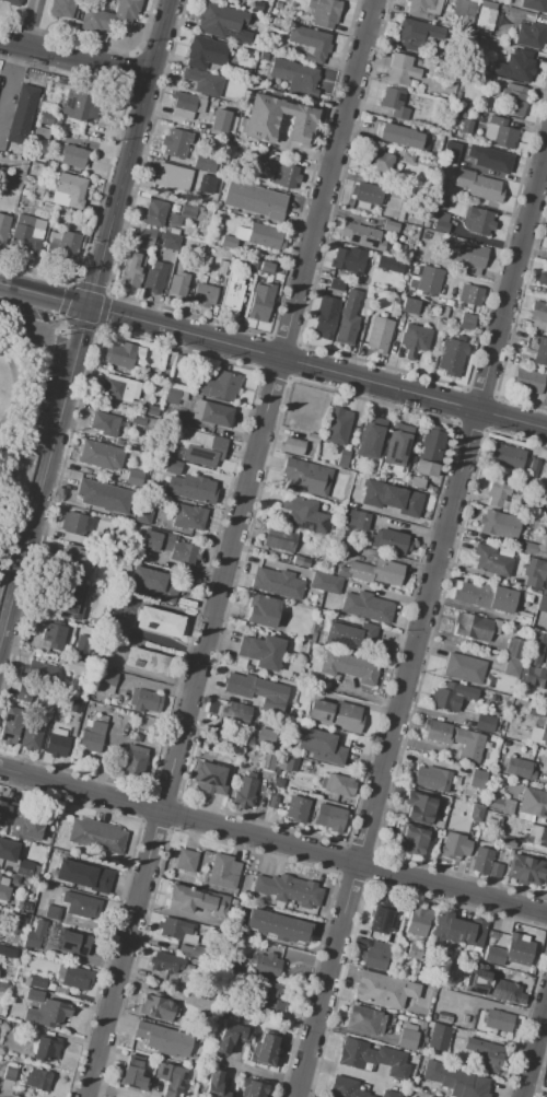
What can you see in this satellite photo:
building: (219, 0)
building: (11, 2)
building: (263, 3)
building: (276, 5)
building: (466, 5)
building: (534, 5)
building: (423, 8)
building: (62, 9)
building: (324, 12)
building: (255, 16)
building: (110, 17)
building: (486, 19)
building: (219, 21)
building: (467, 21)
building: (416, 35)
building: (529, 35)
building: (310, 43)
building: (199, 52)
building: (264, 57)
road: (74, 58)
building: (515, 66)
building: (400, 69)
building: (292, 77)
building: (203, 82)
building: (457, 94)
building: (514, 98)
building: (394, 103)
road: (141, 105)
building: (186, 105)
building: (79, 106)
building: (22, 116)
building: (47, 118)
building: (278, 120)
building: (220, 121)
building: (466, 126)
building: (44, 133)
building: (500, 133)
building: (400, 136)
building: (175, 142)
road: (296, 149)
building: (433, 149)
building: (451, 151)
building: (73, 156)
building: (407, 157)
building: (255, 159)
building: (374, 160)
building: (494, 161)
building: (203, 163)
building: (14, 170)
building: (286, 176)
building: (173, 177)
building: (27, 179)
building: (8, 182)
building: (205, 184)
building: (478, 185)
building: (439, 186)
building: (214, 188)
building: (396, 190)
building: (69, 191)
building: (25, 192)
building: (366, 194)
building: (254, 200)
building: (154, 213)
building: (185, 214)
building: (477, 222)
building: (439, 223)
building: (424, 224)
building: (389, 226)
building: (4, 227)
building: (27, 234)
building: (260, 235)
building: (144, 236)
building: (54, 237)
building: (361, 237)
building: (167, 241)
building: (228, 243)
building: (198, 247)
building: (63, 248)
building: (406, 256)
building: (348, 259)
building: (469, 259)
building: (205, 261)
building: (388, 265)
building: (194, 267)
building: (253, 267)
building: (221, 269)
building: (267, 269)
building: (131, 270)
building: (152, 277)
building: (543, 277)
building: (201, 279)
building: (429, 279)
road: (513, 282)
building: (335, 284)
building: (177, 285)
building: (232, 293)
building: (203, 295)
building: (470, 295)
building: (260, 302)
building: (449, 303)
building: (408, 306)
traffic signals: (89, 310)
building: (537, 312)
building: (325, 317)
building: (347, 319)
building: (466, 322)
building: (438, 327)
building: (379, 335)
building: (415, 340)
road: (37, 346)
road: (240, 348)
building: (539, 351)
building: (125, 357)
building: (451, 358)
building: (149, 373)
building: (526, 382)
building: (223, 386)
road: (18, 388)
building: (118, 388)
building: (546, 389)
building: (172, 396)
building: (151, 404)
park: (22, 413)
building: (218, 416)
building: (138, 419)
road: (513, 419)
building: (182, 421)
building: (104, 424)
building: (337, 424)
road: (43, 427)
road: (56, 434)
building: (312, 436)
building: (370, 437)
building: (118, 442)
building: (397, 444)
building: (431, 444)
building: (291, 446)
building: (174, 451)
building: (101, 455)
building: (211, 455)
building: (341, 458)
building: (508, 458)
road: (15, 466)
building: (140, 467)
building: (172, 467)
building: (534, 468)
building: (426, 469)
building: (306, 477)
building: (133, 478)
building: (417, 482)
building: (195, 489)
building: (498, 495)
building: (103, 497)
building: (392, 498)
building: (304, 514)
building: (143, 516)
building: (188, 517)
building: (357, 520)
building: (77, 523)
building: (499, 525)
building: (279, 539)
building: (388, 541)
building: (165, 545)
building: (526, 547)
building: (542, 547)
road: (228, 548)
building: (342, 549)
building: (301, 561)
building: (82, 563)
building: (493, 563)
building: (373, 572)
building: (533, 574)
building: (152, 582)
building: (277, 584)
building: (325, 584)
building: (80, 591)
building: (537, 592)
building: (520, 596)
building: (487, 598)
building: (543, 604)
building: (61, 605)
building: (369, 608)
building: (264, 612)
building: (97, 618)
building: (337, 618)
building: (150, 619)
building: (473, 629)
building: (347, 634)
building: (54, 635)
building: (82, 649)
building: (514, 649)
building: (534, 650)
building: (260, 651)
building: (137, 657)
building: (348, 667)
building: (79, 668)
building: (512, 668)
building: (464, 669)
building: (39, 672)
building: (533, 677)
building: (106, 682)
building: (255, 688)
building: (24, 693)
building: (451, 697)
building: (144, 700)
building: (73, 705)
building: (534, 710)
building: (238, 712)
building: (334, 714)
building: (487, 722)
building: (11, 725)
building: (438, 732)
building: (263, 734)
building: (538, 735)
building: (32, 736)
building: (91, 738)
building: (224, 738)
building: (56, 744)
building: (505, 744)
building: (322, 745)
building: (469, 745)
building: (531, 750)
road: (386, 752)
building: (133, 760)
building: (268, 763)
building: (289, 763)
building: (546, 768)
building: (519, 769)
building: (210, 779)
building: (431, 779)
building: (477, 780)
building: (337, 785)
building: (246, 791)
building: (273, 804)
building: (533, 804)
building: (502, 806)
building: (298, 808)
building: (420, 808)
building: (476, 813)
building: (329, 817)
building: (23, 821)
building: (83, 835)
building: (524, 836)
building: (412, 839)
building: (112, 841)
road: (272, 841)
building: (454, 845)
building: (8, 851)
building: (187, 861)
building: (486, 863)
building: (24, 868)
building: (526, 870)
building: (85, 871)
building: (223, 872)
building: (83, 882)
building: (276, 887)
building: (306, 894)
building: (3, 895)
building: (195, 900)
building: (23, 907)
building: (81, 907)
building: (53, 913)
building: (381, 918)
building: (419, 922)
building: (15, 924)
building: (277, 926)
building: (182, 931)
building: (467, 932)
building: (33, 941)
building: (75, 944)
building: (8, 952)
building: (520, 952)
building: (376, 957)
building: (494, 957)
building: (173, 964)
building: (267, 967)
building: (77, 980)
building: (37, 982)
building: (489, 985)
building: (3, 988)
building: (512, 988)
building: (384, 991)
building: (266, 992)
building: (34, 996)
building: (155, 1008)
building: (49, 1015)
building: (473, 1019)
building: (498, 1020)
building: (363, 1023)
building: (27, 1030)
building: (230, 1037)
building: (440, 1038)
building: (407, 1039)
building: (164, 1040)
building: (475, 1046)
building: (266, 1049)
building: (47, 1051)
road: (536, 1052)
building: (372, 1058)
road: (540, 1059)
building: (490, 1060)
building: (9, 1073)
building: (133, 1076)
building: (38, 1081)
building: (455, 1081)
building: (170, 1082)
building: (218, 1085)
building: (347, 1088)
building: (254, 1089)
building: (389, 1094)

